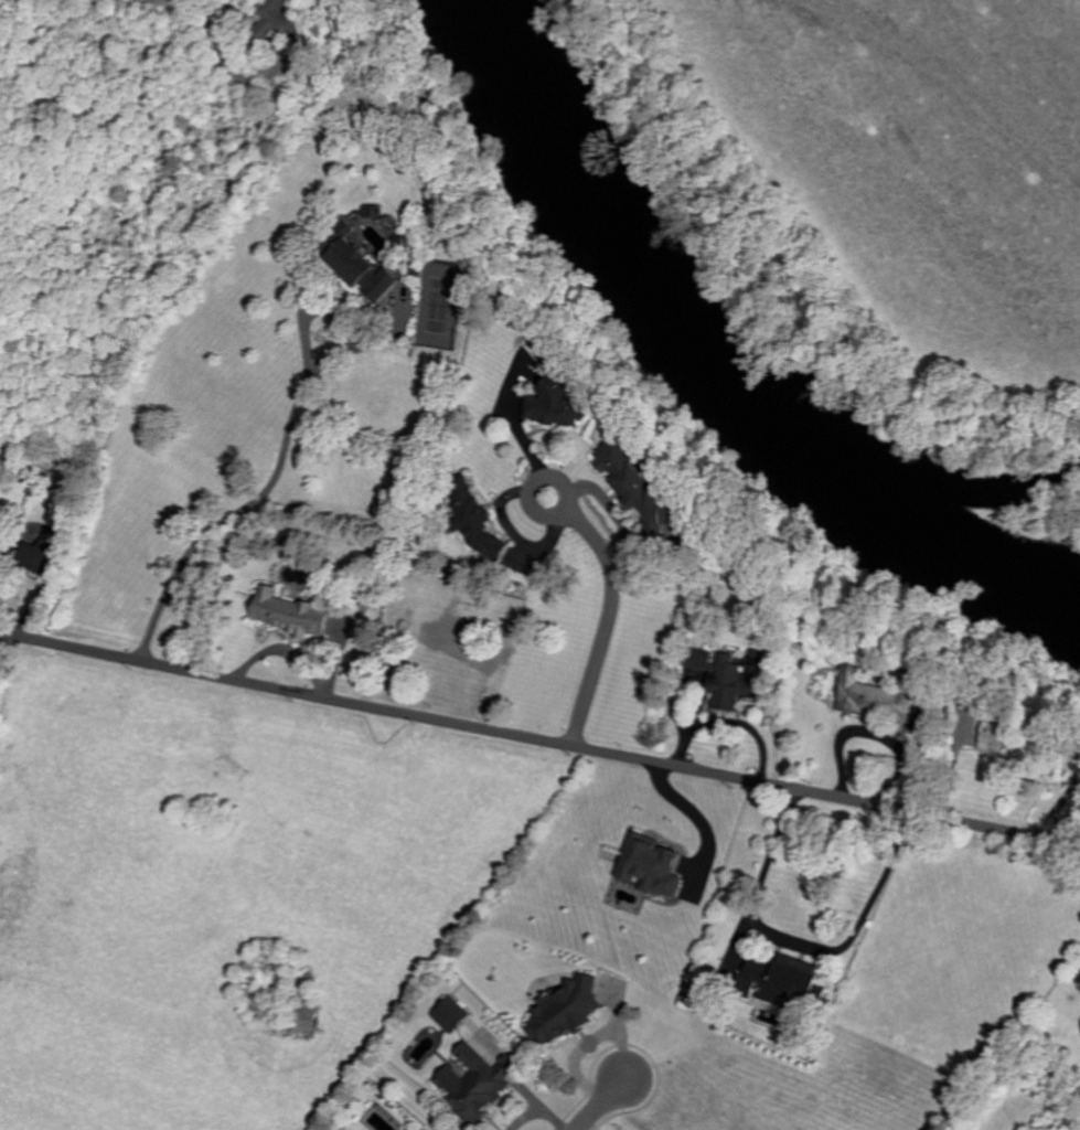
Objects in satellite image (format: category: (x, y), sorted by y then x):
road: (197, 2)
building: (280, 21)
building: (366, 270)
river: (704, 376)
building: (558, 404)
road: (272, 483)
road: (549, 483)
building: (640, 483)
building: (479, 523)
building: (293, 614)
road: (606, 633)
building: (451, 648)
building: (727, 678)
building: (870, 695)
road: (539, 740)
building: (999, 742)
road: (698, 821)
building: (654, 864)
road: (789, 941)
building: (785, 979)
building: (581, 1011)
building: (470, 1012)
building: (453, 1013)
building: (493, 1090)
road: (612, 1107)

